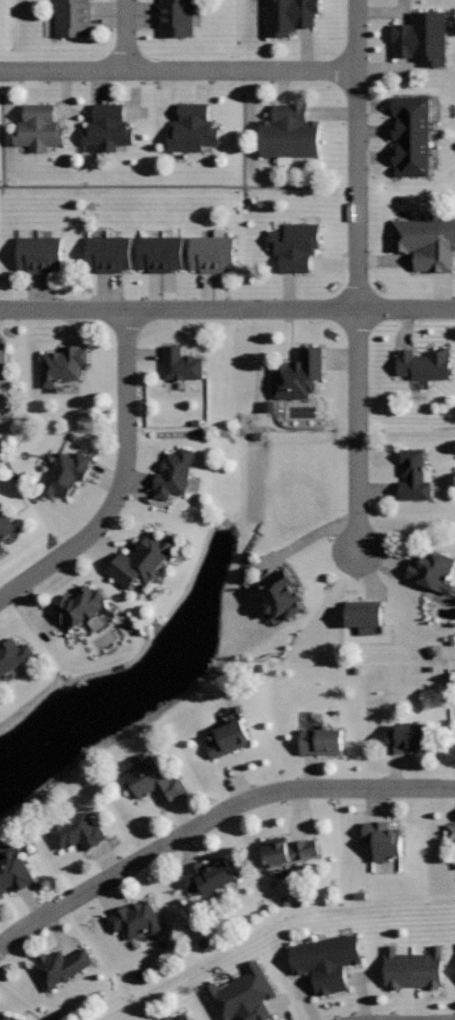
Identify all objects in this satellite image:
building: (290, 15)
building: (73, 17)
building: (177, 17)
road: (126, 34)
building: (422, 37)
road: (65, 71)
road: (241, 71)
building: (39, 127)
building: (109, 128)
building: (193, 128)
building: (290, 131)
building: (412, 135)
road: (357, 154)
building: (426, 241)
building: (296, 244)
building: (161, 252)
building: (213, 252)
building: (40, 253)
building: (110, 253)
road: (227, 309)
building: (4, 357)
building: (182, 363)
building: (426, 363)
building: (63, 364)
building: (299, 374)
road: (358, 430)
building: (174, 472)
building: (66, 474)
building: (415, 475)
road: (120, 480)
building: (6, 522)
building: (2, 549)
building: (142, 559)
building: (434, 570)
building: (282, 594)
building: (80, 605)
building: (365, 614)
building: (13, 653)
building: (407, 736)
building: (228, 737)
building: (322, 741)
building: (155, 778)
road: (212, 817)
building: (79, 829)
building: (451, 829)
building: (382, 841)
building: (290, 849)
building: (14, 871)
building: (210, 875)
building: (136, 918)
building: (327, 960)
building: (61, 965)
building: (414, 967)
building: (242, 995)
building: (185, 1016)
building: (9, 1017)

